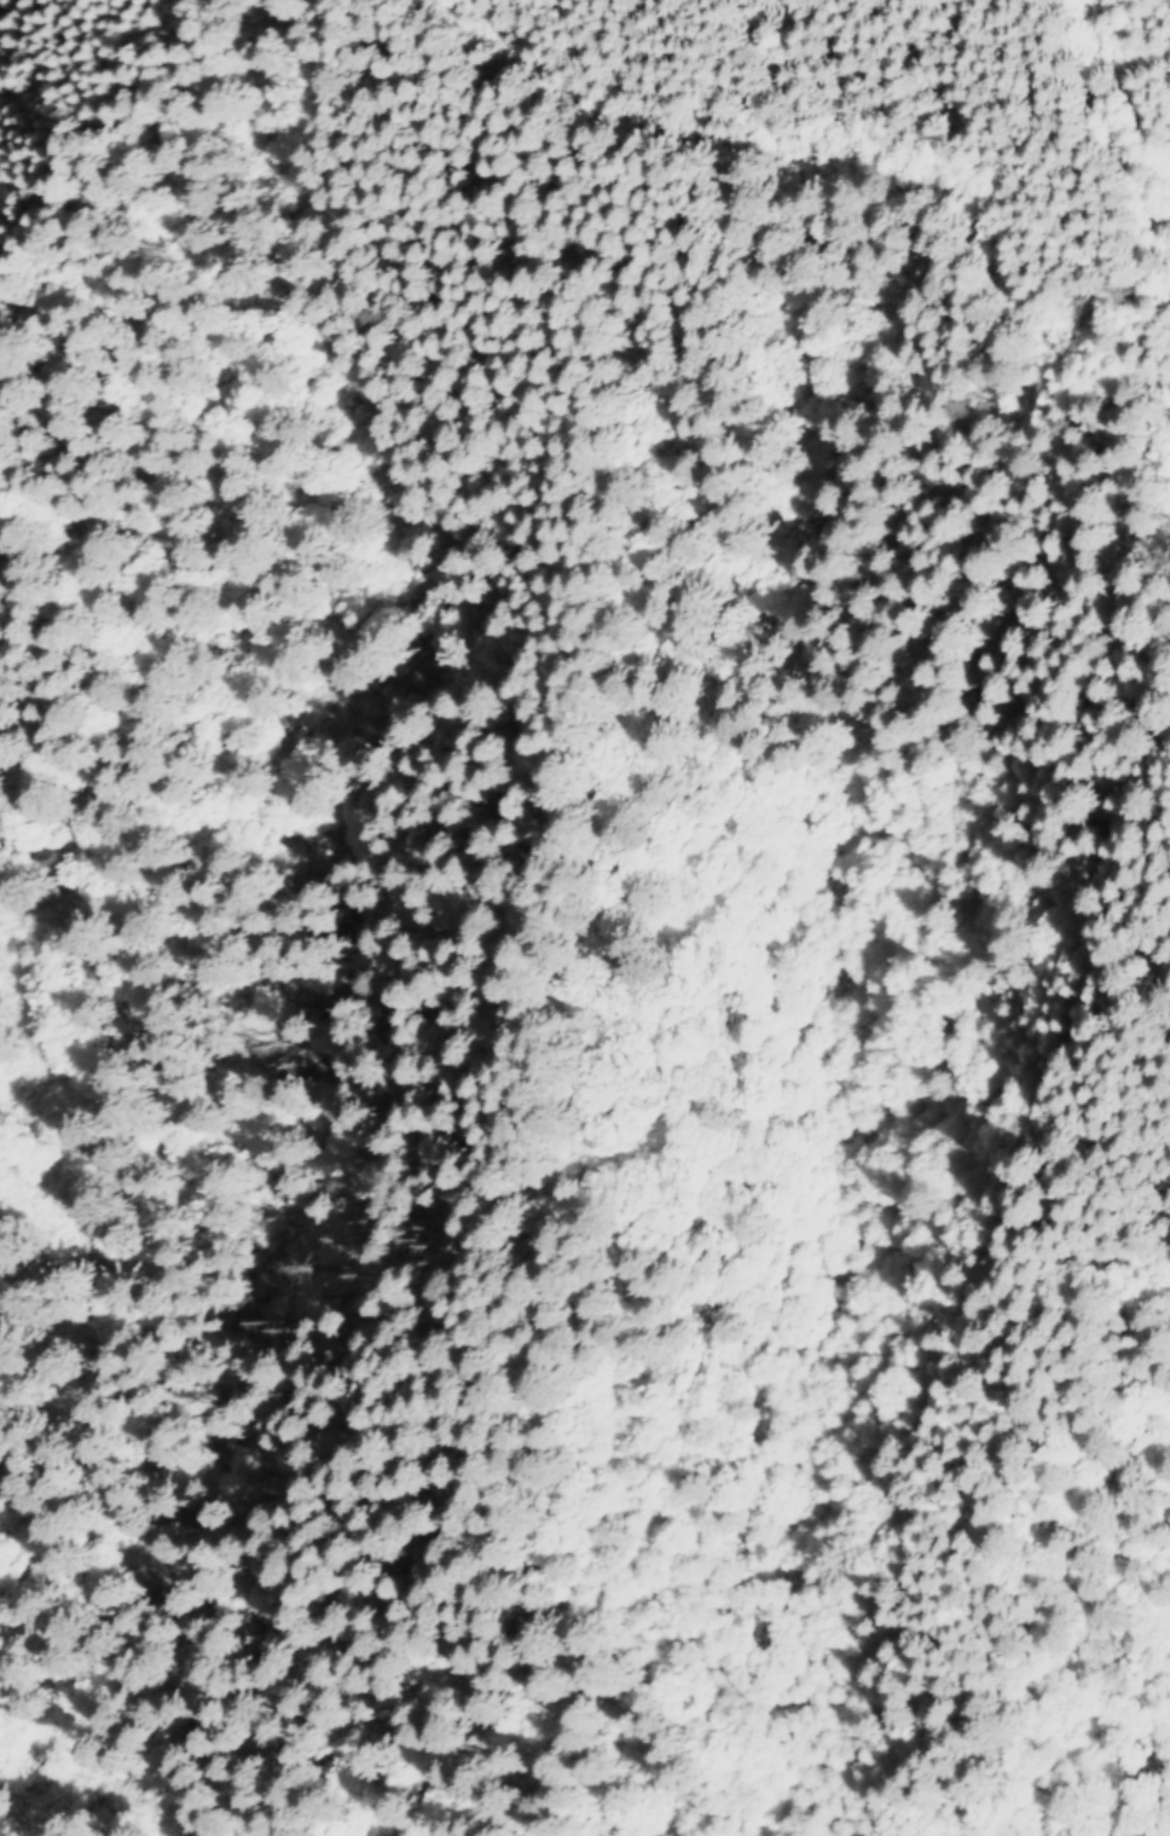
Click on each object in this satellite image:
road: (1042, 325)
road: (1093, 1759)

